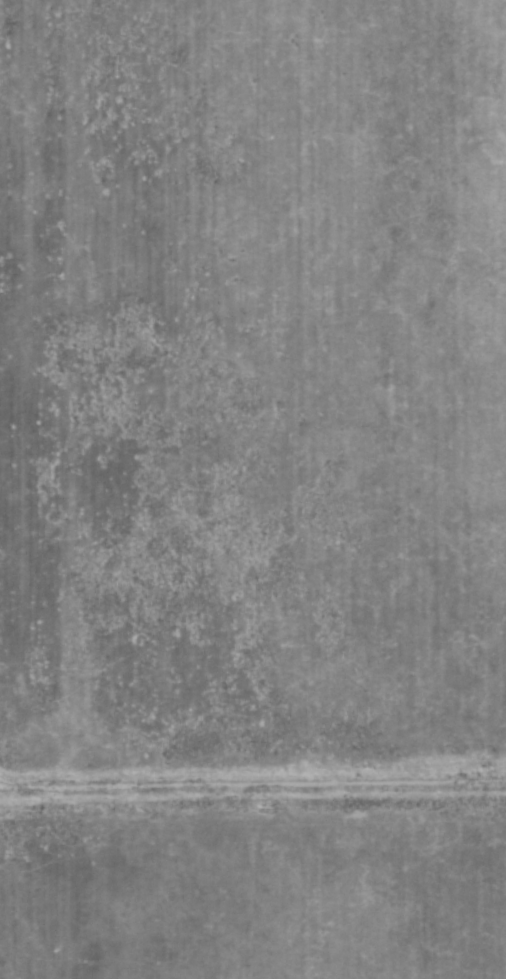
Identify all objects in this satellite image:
crop: (253, 489)
park: (253, 489)

